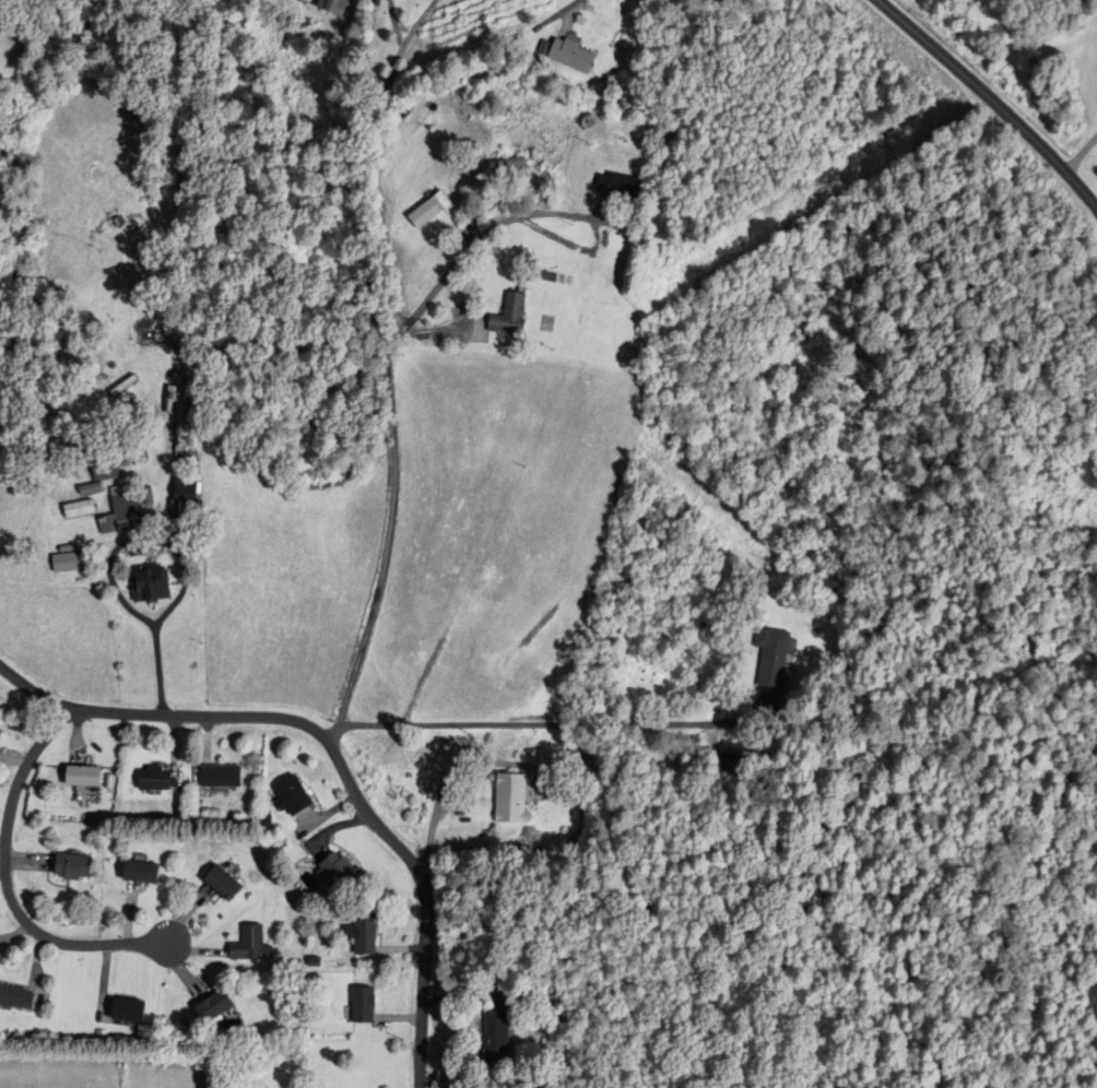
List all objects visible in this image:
building: (337, 7)
road: (561, 14)
building: (575, 57)
road: (975, 86)
road: (1083, 157)
building: (505, 166)
building: (626, 188)
road: (1083, 191)
building: (433, 212)
building: (512, 317)
building: (153, 336)
building: (187, 404)
road: (390, 416)
building: (190, 456)
building: (109, 472)
building: (189, 499)
building: (83, 511)
building: (126, 512)
building: (70, 565)
building: (154, 586)
building: (777, 655)
road: (518, 724)
road: (337, 752)
building: (735, 769)
building: (86, 776)
building: (225, 776)
building: (157, 779)
building: (297, 795)
building: (520, 795)
building: (75, 867)
building: (144, 872)
building: (339, 872)
road: (5, 884)
building: (226, 884)
building: (365, 934)
building: (251, 944)
building: (17, 997)
building: (365, 1005)
building: (217, 1006)
building: (131, 1010)
building: (499, 1037)

